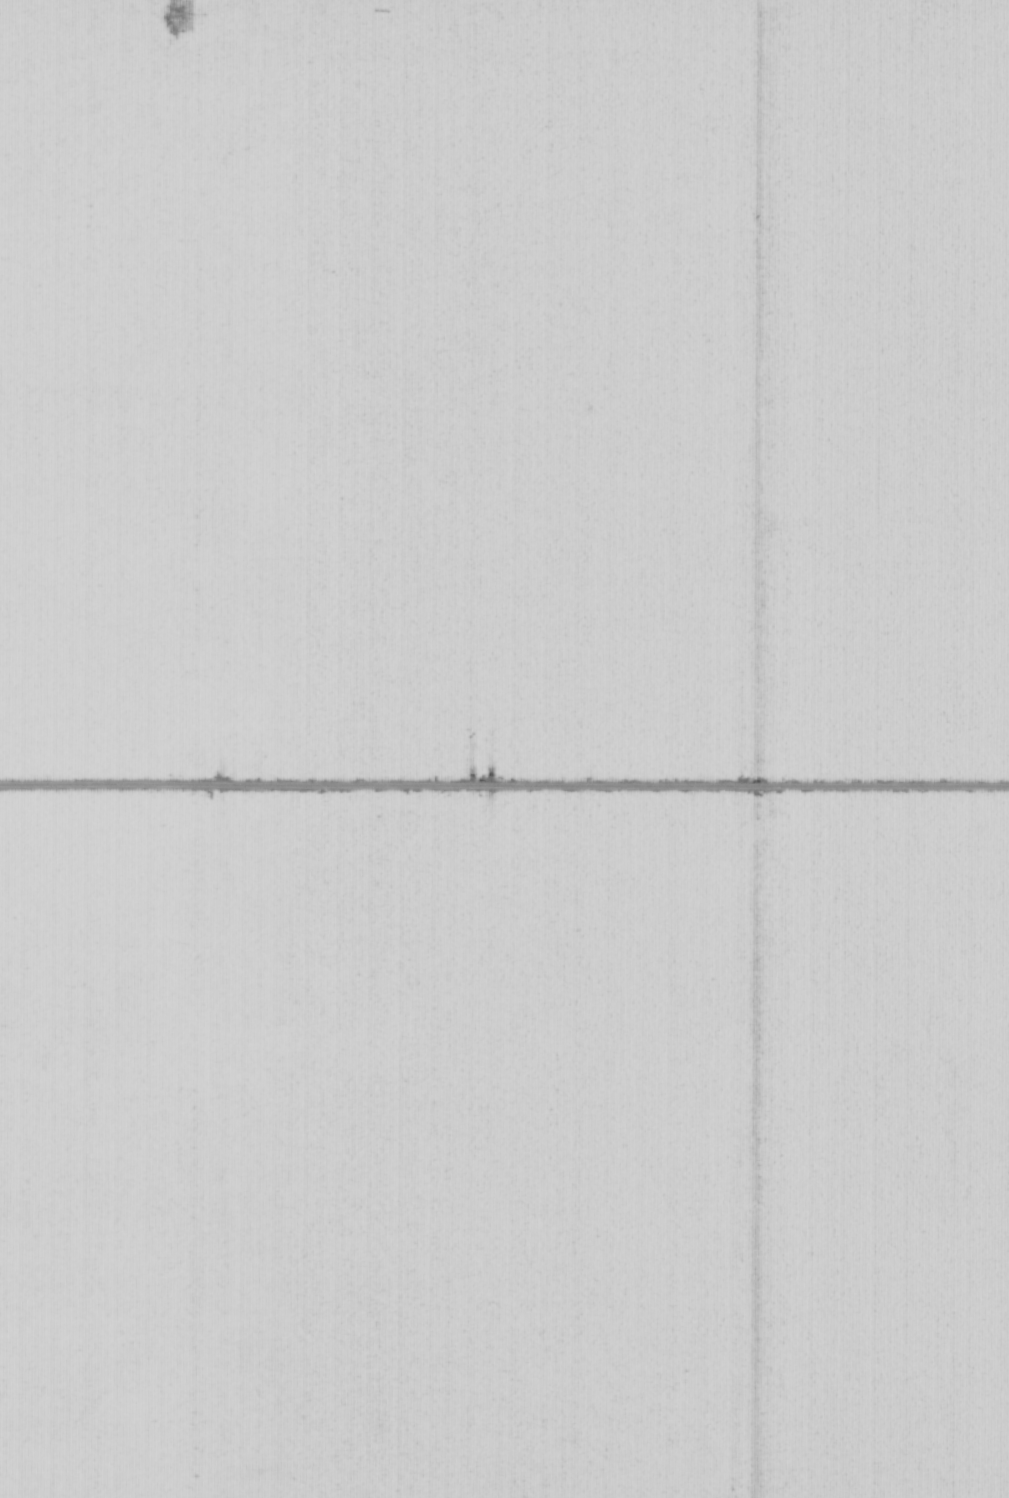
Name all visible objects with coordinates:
crop: (504, 749)

